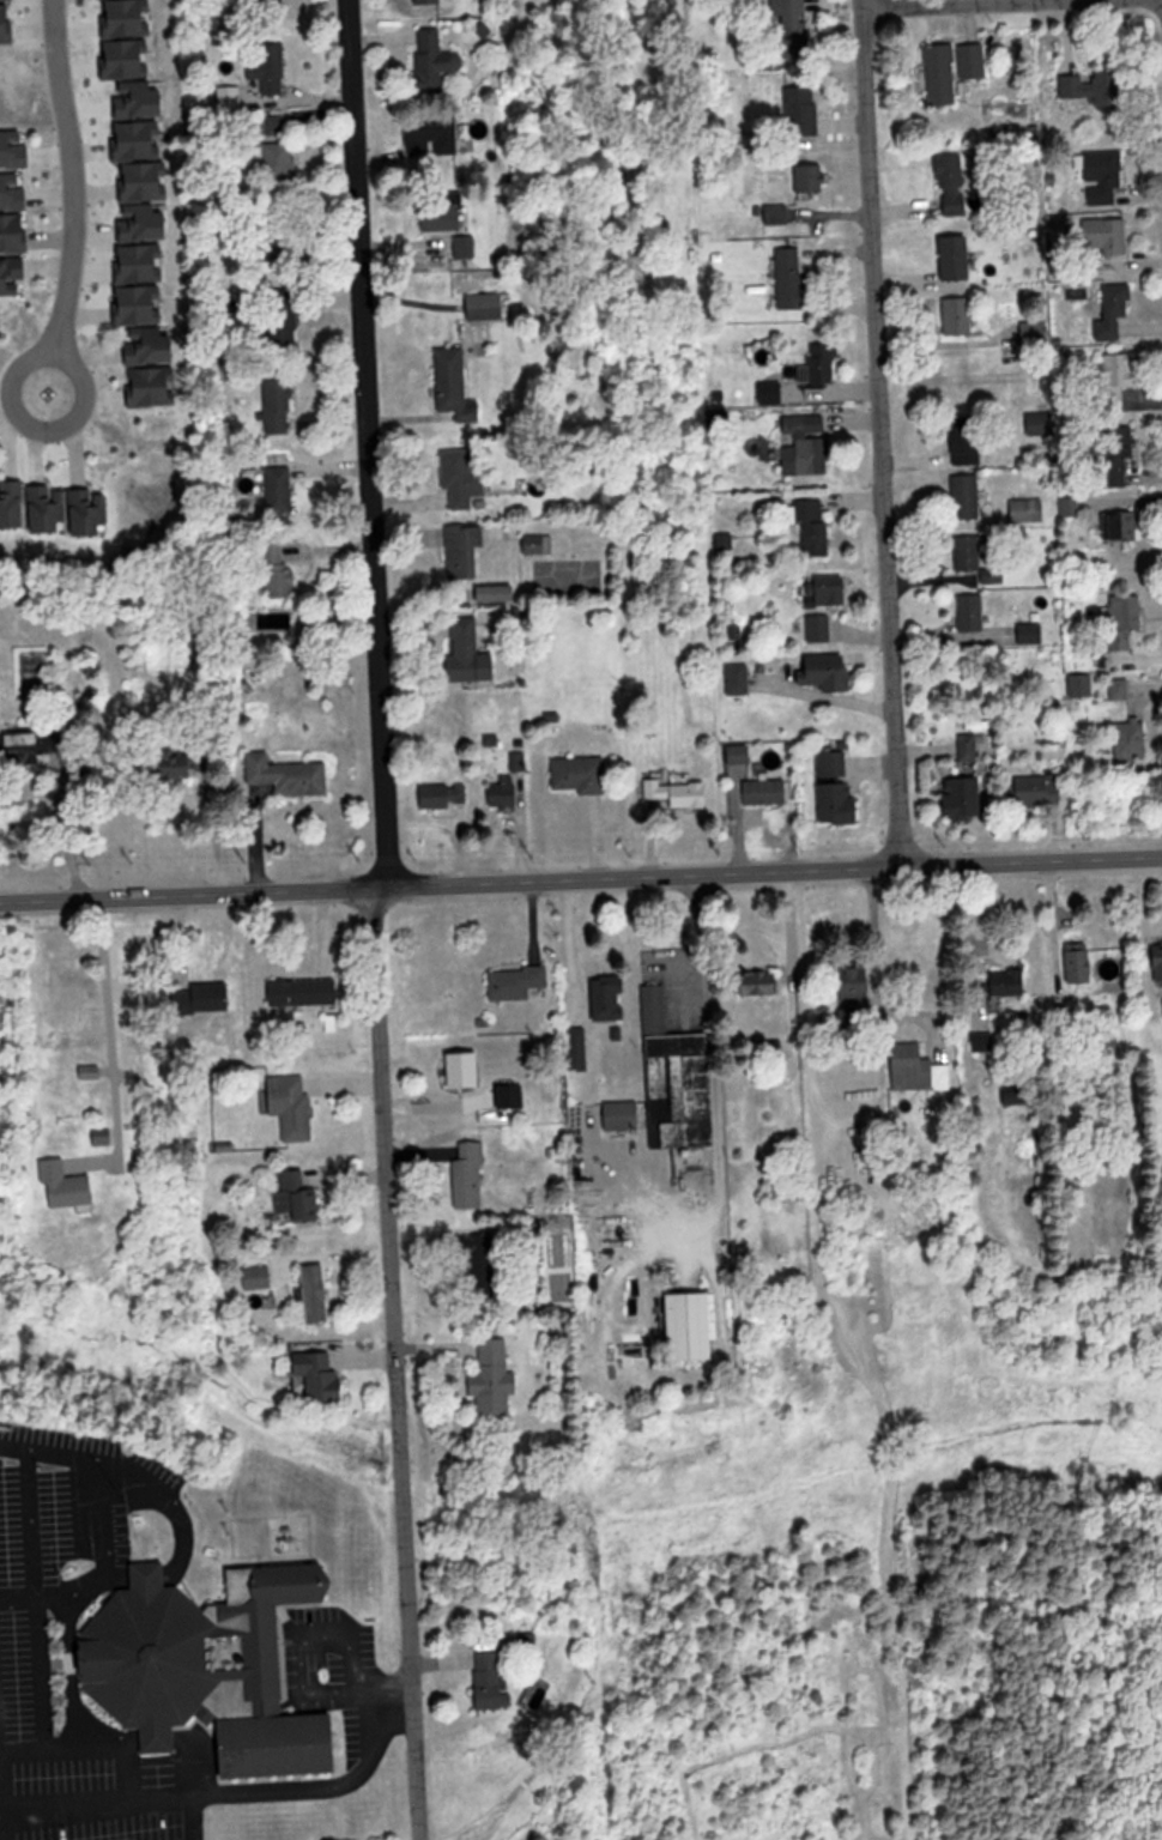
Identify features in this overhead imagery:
building: (408, 0)
building: (271, 1)
road: (908, 2)
building: (794, 26)
building: (436, 59)
building: (270, 67)
building: (954, 69)
building: (1095, 87)
building: (803, 111)
building: (432, 134)
building: (14, 147)
building: (282, 159)
building: (1104, 176)
building: (813, 177)
road: (69, 180)
building: (952, 184)
building: (14, 189)
building: (443, 213)
building: (777, 213)
building: (14, 231)
building: (1104, 235)
building: (957, 256)
building: (13, 276)
building: (791, 277)
building: (486, 304)
building: (1118, 308)
building: (960, 315)
building: (284, 319)
building: (1035, 331)
building: (152, 345)
building: (819, 365)
building: (1120, 379)
building: (455, 385)
building: (153, 386)
building: (278, 406)
building: (1040, 423)
road: (871, 431)
building: (966, 440)
road: (355, 442)
building: (806, 444)
building: (1119, 453)
building: (464, 479)
building: (279, 490)
building: (967, 496)
building: (13, 504)
building: (49, 509)
building: (91, 513)
building: (812, 525)
building: (1122, 526)
building: (465, 549)
building: (968, 552)
building: (279, 570)
building: (830, 589)
building: (498, 592)
building: (972, 611)
building: (1126, 618)
building: (819, 627)
building: (470, 652)
building: (828, 671)
building: (739, 678)
building: (1082, 684)
building: (25, 738)
building: (1131, 738)
building: (974, 745)
building: (739, 752)
building: (187, 763)
building: (580, 773)
building: (290, 774)
building: (836, 788)
building: (1040, 788)
building: (506, 789)
building: (767, 791)
building: (679, 792)
building: (443, 794)
building: (964, 797)
road: (580, 876)
building: (1160, 960)
building: (1081, 966)
building: (519, 982)
building: (763, 982)
building: (1010, 982)
building: (304, 991)
building: (213, 997)
building: (855, 997)
building: (611, 998)
building: (984, 1041)
building: (919, 1067)
building: (91, 1071)
building: (676, 1072)
building: (292, 1104)
building: (623, 1114)
building: (104, 1134)
building: (471, 1175)
building: (67, 1185)
building: (297, 1197)
building: (477, 1259)
building: (259, 1276)
building: (317, 1291)
building: (692, 1326)
road: (389, 1362)
building: (325, 1378)
building: (496, 1379)
building: (204, 1666)
building: (495, 1679)

